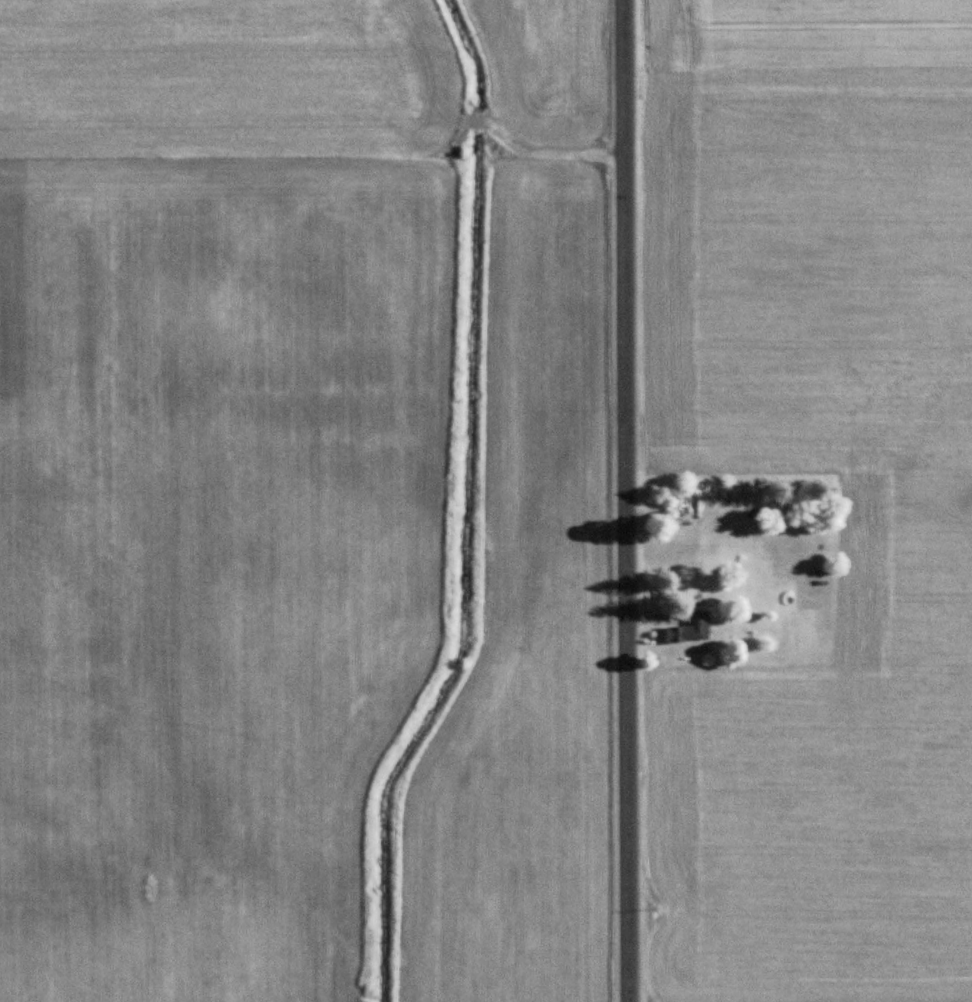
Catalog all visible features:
road: (624, 501)
building: (800, 574)
building: (689, 630)

